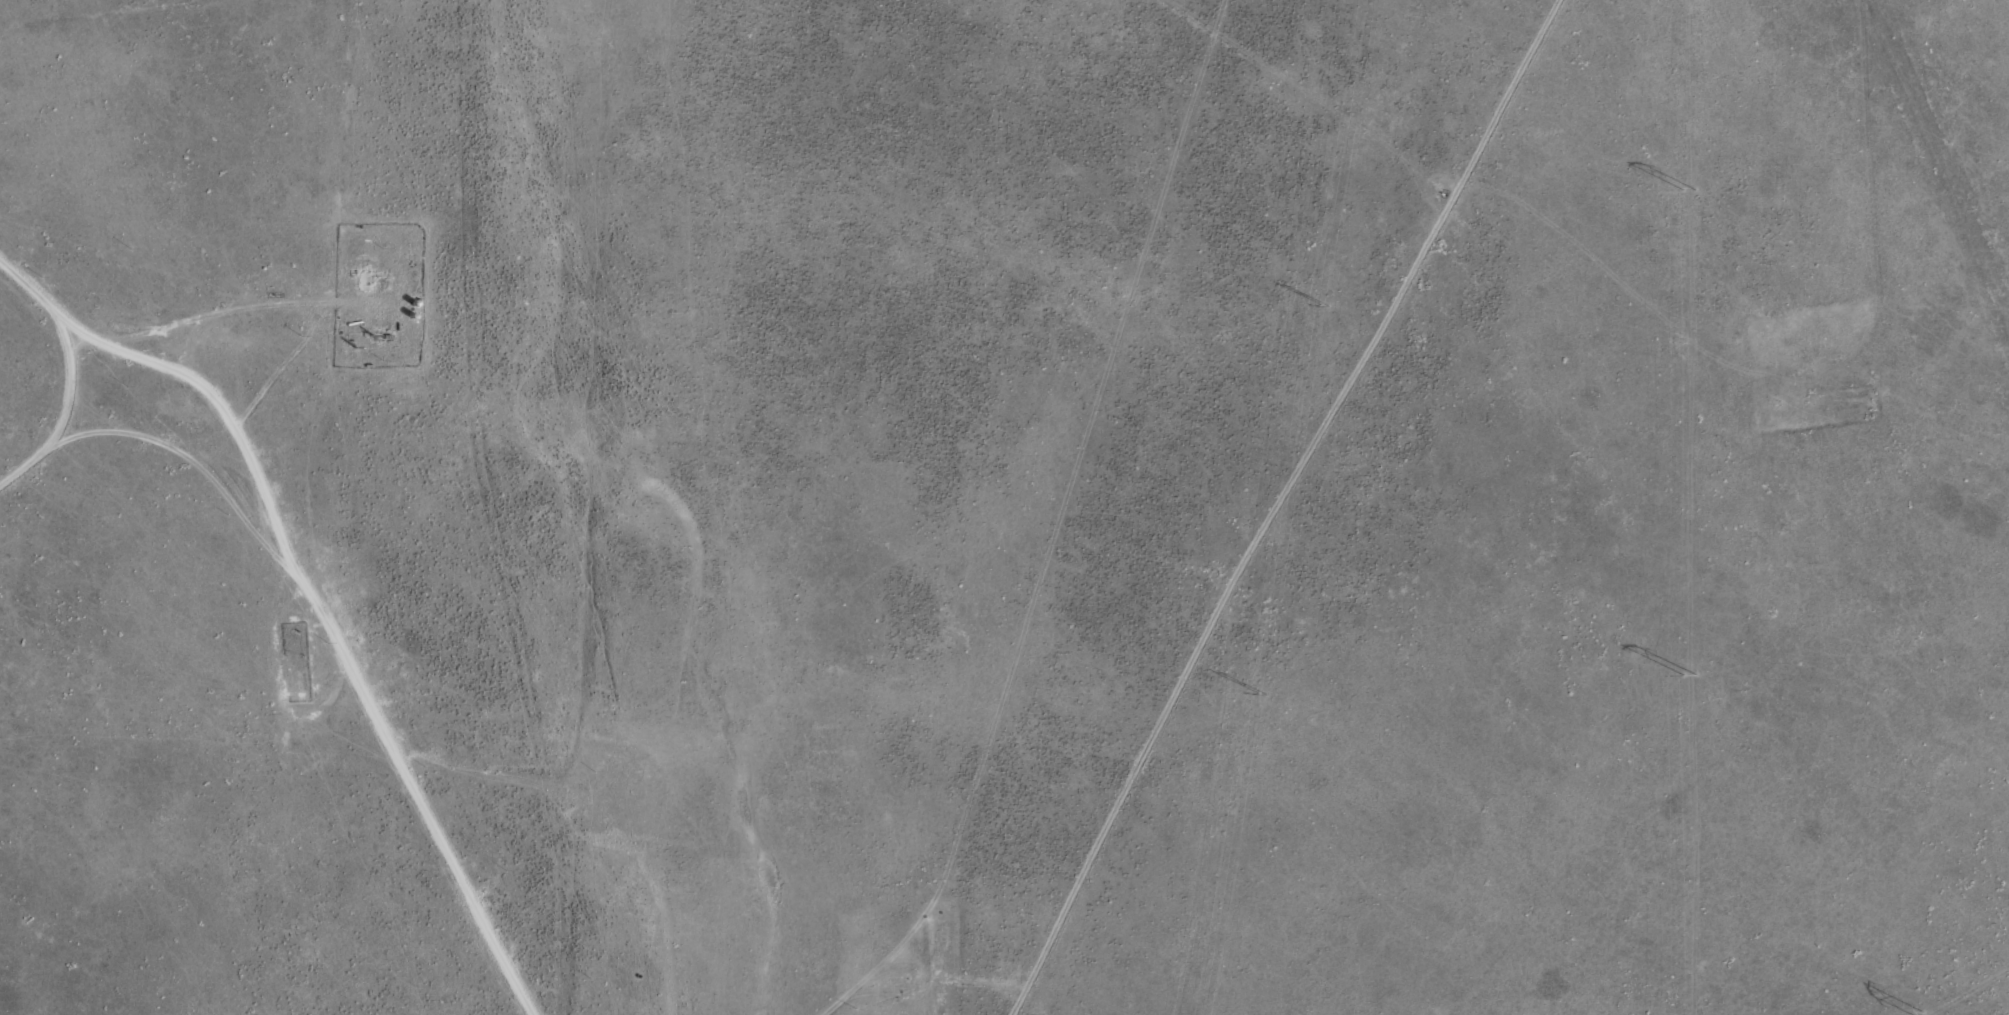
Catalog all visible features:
road: (320, 15)
power tower: (1689, 191)
power tower: (1323, 304)
road: (65, 320)
road: (367, 607)
power tower: (1690, 675)
power tower: (1262, 694)
power tower: (1924, 1013)

